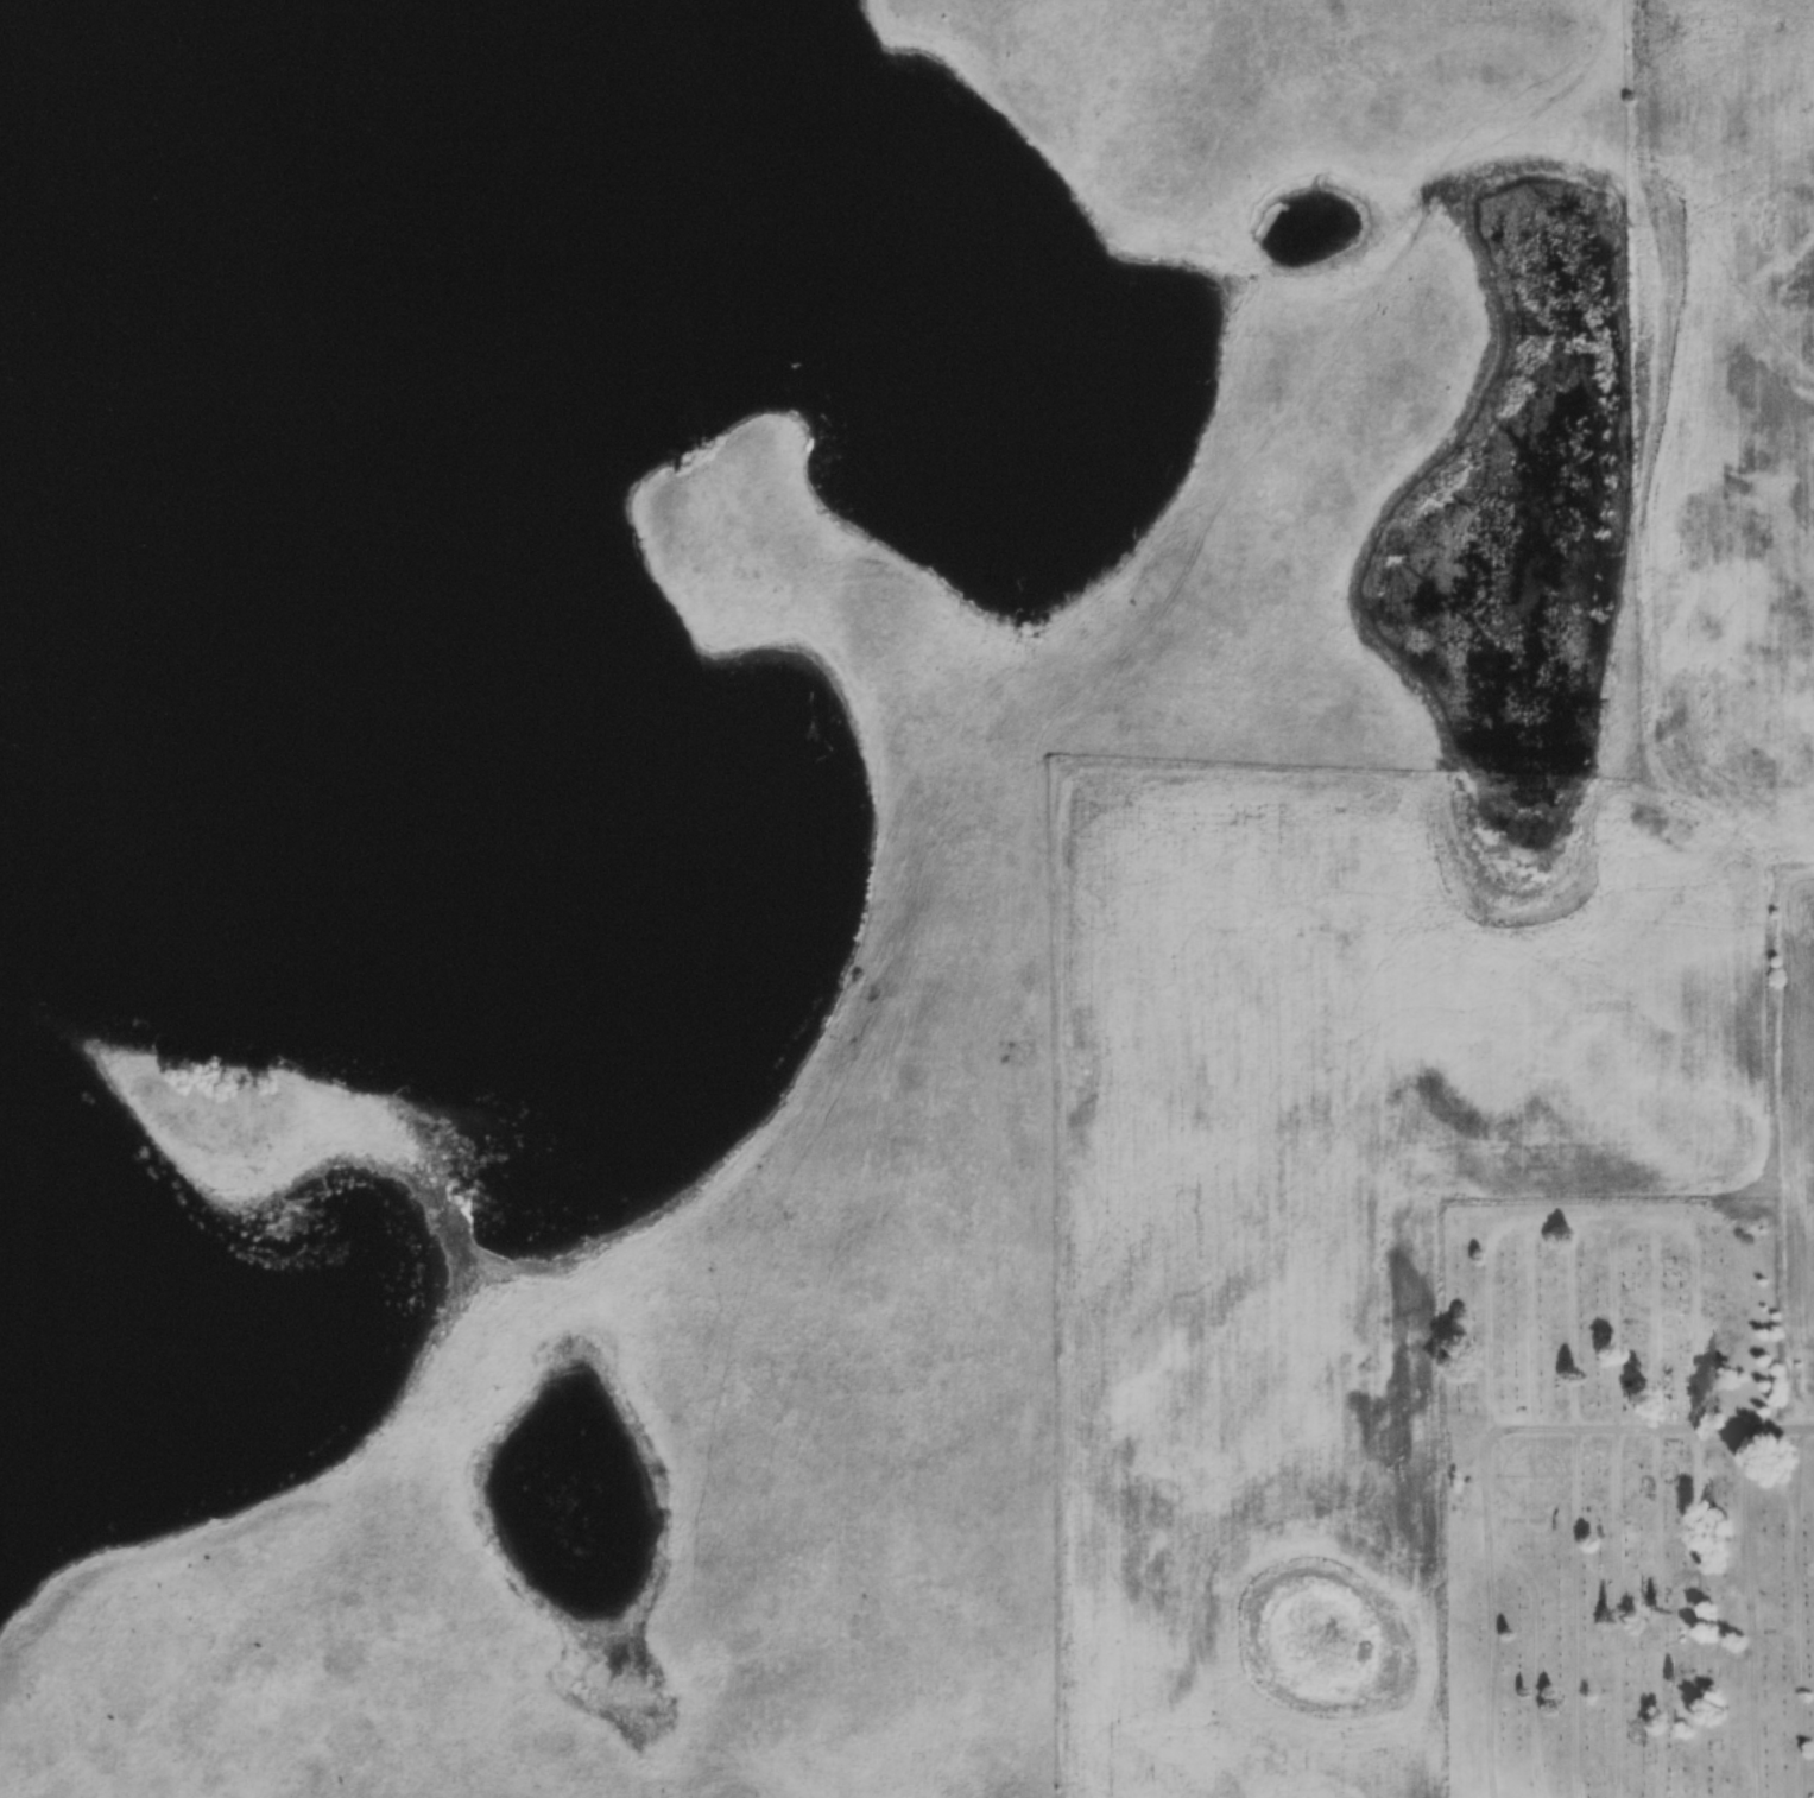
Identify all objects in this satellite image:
road: (1492, 1457)
road: (1755, 1614)

